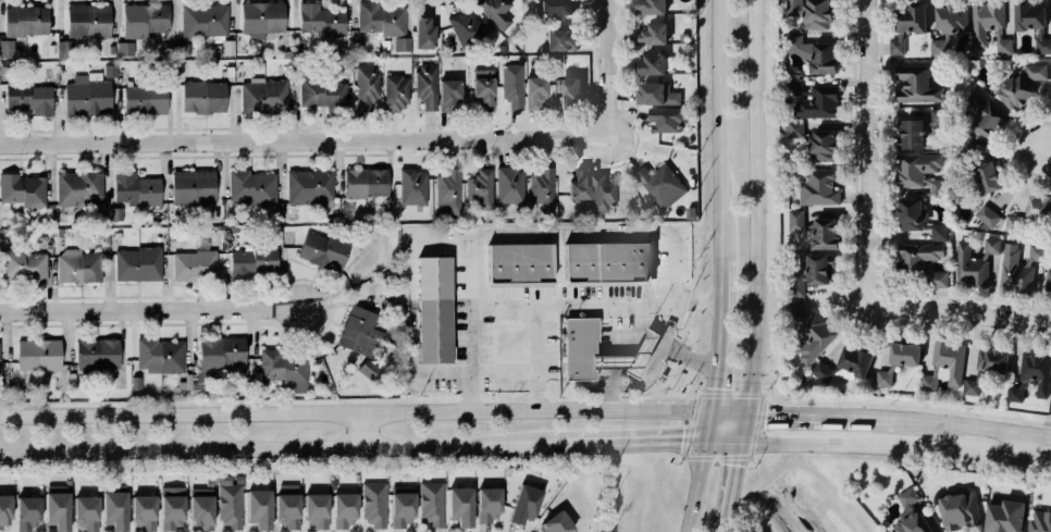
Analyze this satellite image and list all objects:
building: (648, 7)
building: (555, 8)
building: (496, 11)
building: (814, 12)
building: (262, 15)
building: (25, 18)
building: (88, 18)
building: (322, 18)
building: (381, 18)
building: (145, 20)
building: (203, 20)
building: (1033, 22)
building: (907, 24)
building: (949, 24)
building: (990, 25)
building: (466, 28)
building: (423, 33)
building: (652, 34)
building: (560, 38)
road: (592, 40)
building: (401, 44)
building: (125, 48)
building: (182, 48)
building: (7, 49)
building: (64, 49)
building: (816, 52)
building: (650, 62)
road: (618, 64)
road: (605, 66)
building: (110, 71)
road: (591, 77)
building: (916, 84)
building: (425, 85)
building: (512, 85)
building: (1021, 85)
building: (367, 86)
building: (483, 90)
building: (535, 90)
building: (448, 91)
building: (570, 91)
building: (323, 92)
building: (396, 92)
road: (619, 94)
building: (655, 94)
building: (87, 95)
building: (203, 96)
building: (264, 96)
building: (30, 98)
building: (145, 99)
building: (815, 100)
road: (625, 114)
building: (985, 115)
building: (667, 117)
road: (568, 125)
road: (868, 127)
road: (720, 128)
building: (917, 128)
building: (795, 129)
road: (300, 141)
building: (823, 145)
road: (1013, 148)
road: (1040, 148)
road: (619, 149)
road: (598, 151)
road: (580, 152)
road: (399, 153)
road: (741, 154)
road: (646, 160)
building: (917, 170)
road: (604, 171)
building: (989, 174)
building: (658, 180)
building: (364, 182)
building: (579, 183)
building: (508, 184)
building: (194, 185)
building: (78, 186)
building: (252, 186)
building: (309, 186)
building: (411, 186)
building: (818, 186)
building: (480, 187)
building: (939, 187)
building: (136, 188)
building: (541, 188)
building: (22, 189)
building: (447, 190)
building: (603, 191)
road: (759, 206)
building: (1039, 208)
building: (114, 212)
building: (988, 215)
building: (918, 219)
building: (1013, 224)
road: (882, 226)
road: (603, 228)
building: (816, 228)
road: (430, 247)
building: (324, 249)
building: (252, 261)
building: (606, 262)
building: (974, 262)
building: (137, 263)
building: (519, 263)
building: (22, 264)
building: (194, 264)
building: (77, 265)
road: (854, 265)
building: (919, 265)
building: (1017, 268)
building: (811, 272)
road: (339, 274)
road: (283, 280)
road: (12, 281)
road: (124, 282)
road: (240, 282)
building: (1048, 282)
road: (110, 283)
road: (168, 283)
road: (182, 283)
road: (208, 283)
road: (219, 283)
road: (227, 283)
road: (81, 284)
road: (255, 284)
road: (52, 285)
road: (139, 287)
road: (197, 287)
road: (24, 288)
road: (82, 288)
road: (721, 296)
road: (626, 300)
road: (197, 302)
road: (337, 304)
building: (434, 307)
road: (331, 308)
parking lot: (458, 308)
road: (938, 310)
road: (152, 311)
building: (796, 311)
street lamp: (924, 319)
street lamp: (94, 321)
road: (220, 329)
road: (97, 330)
road: (532, 330)
road: (36, 331)
road: (146, 331)
road: (158, 331)
building: (360, 331)
road: (251, 332)
road: (122, 334)
road: (134, 334)
road: (191, 334)
road: (235, 334)
road: (666, 334)
road: (5, 335)
road: (67, 335)
road: (109, 335)
road: (51, 336)
road: (617, 336)
building: (815, 336)
road: (2, 337)
road: (281, 338)
road: (311, 345)
building: (580, 346)
gas station: (642, 350)
building: (97, 352)
building: (38, 354)
building: (160, 355)
building: (217, 358)
building: (899, 359)
building: (845, 362)
building: (944, 362)
road: (653, 364)
building: (987, 366)
building: (284, 368)
building: (368, 368)
building: (1037, 371)
road: (606, 372)
road: (718, 372)
building: (805, 378)
road: (591, 380)
building: (136, 382)
traffic signals: (718, 382)
street lamp: (690, 383)
building: (184, 385)
road: (692, 388)
road: (765, 392)
building: (1016, 393)
street lamp: (802, 406)
street lamp: (897, 407)
road: (374, 412)
traffic signals: (771, 412)
road: (783, 412)
street lamp: (973, 416)
road: (935, 423)
road: (710, 425)
street lamp: (1050, 425)
road: (747, 426)
road: (668, 441)
traffic signals: (668, 441)
road: (313, 445)
road: (879, 445)
road: (1023, 446)
road: (681, 459)
street lamp: (750, 459)
road: (753, 462)
traffic signals: (740, 474)
road: (738, 481)
road: (696, 485)
building: (228, 503)
building: (431, 503)
building: (373, 504)
building: (489, 504)
building: (524, 504)
building: (287, 505)
building: (460, 505)
building: (114, 506)
building: (401, 506)
building: (57, 507)
building: (200, 507)
building: (172, 508)
building: (259, 508)
building: (344, 509)
building: (316, 510)
building: (960, 510)
building: (4, 511)
building: (144, 511)
building: (27, 512)
building: (86, 512)
building: (912, 515)
building: (1005, 516)
road: (929, 517)
building: (1040, 521)
building: (556, 523)
road: (728, 525)

